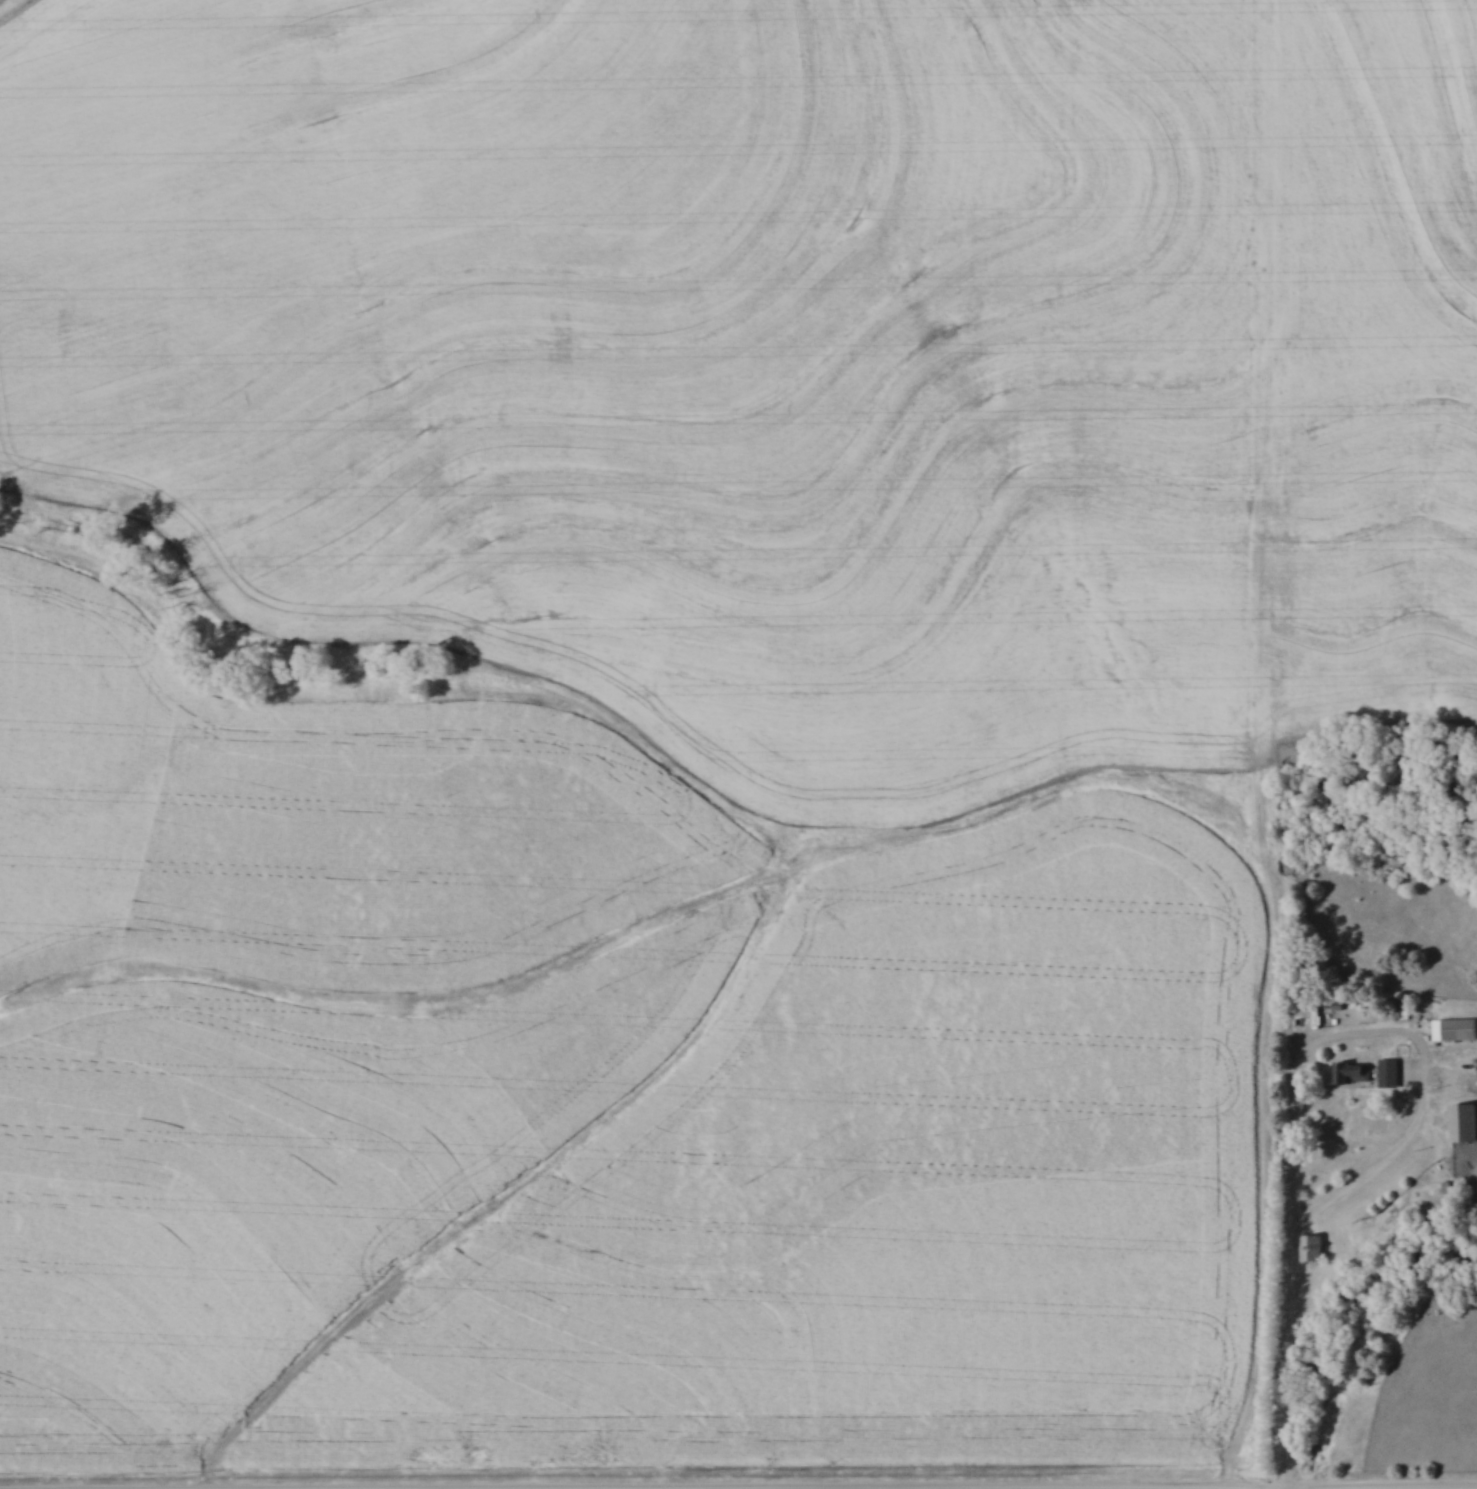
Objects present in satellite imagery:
building: (1460, 1030)
road: (1293, 1063)
building: (1354, 1072)
building: (1392, 1072)
building: (1466, 1123)
building: (1312, 1248)
road: (1287, 1252)

